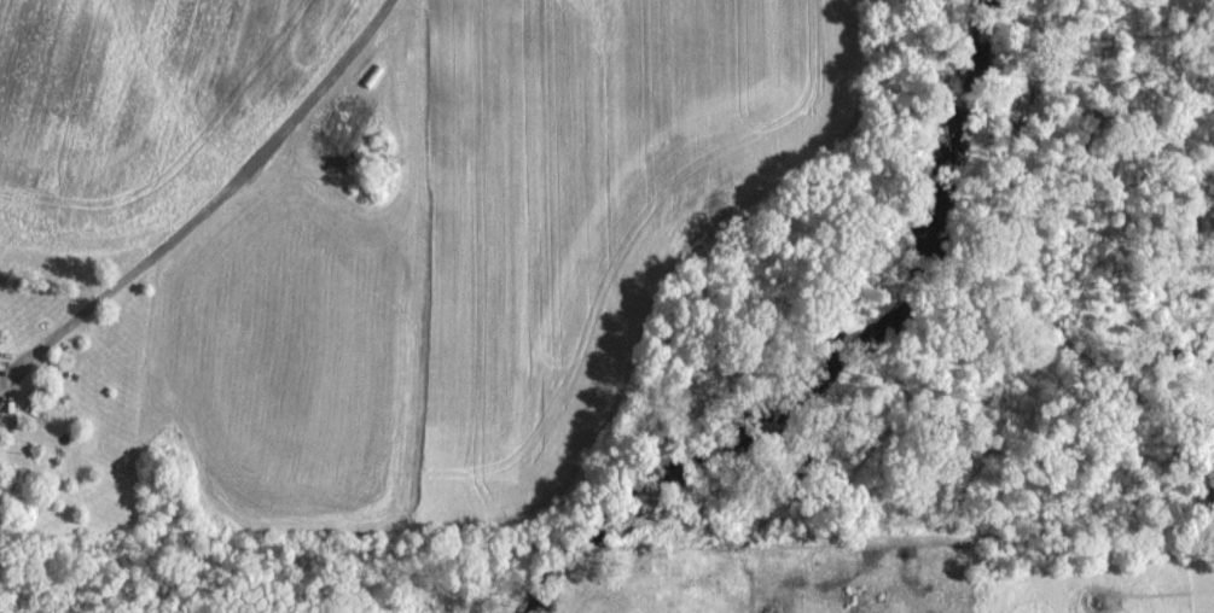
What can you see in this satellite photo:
road: (216, 197)

